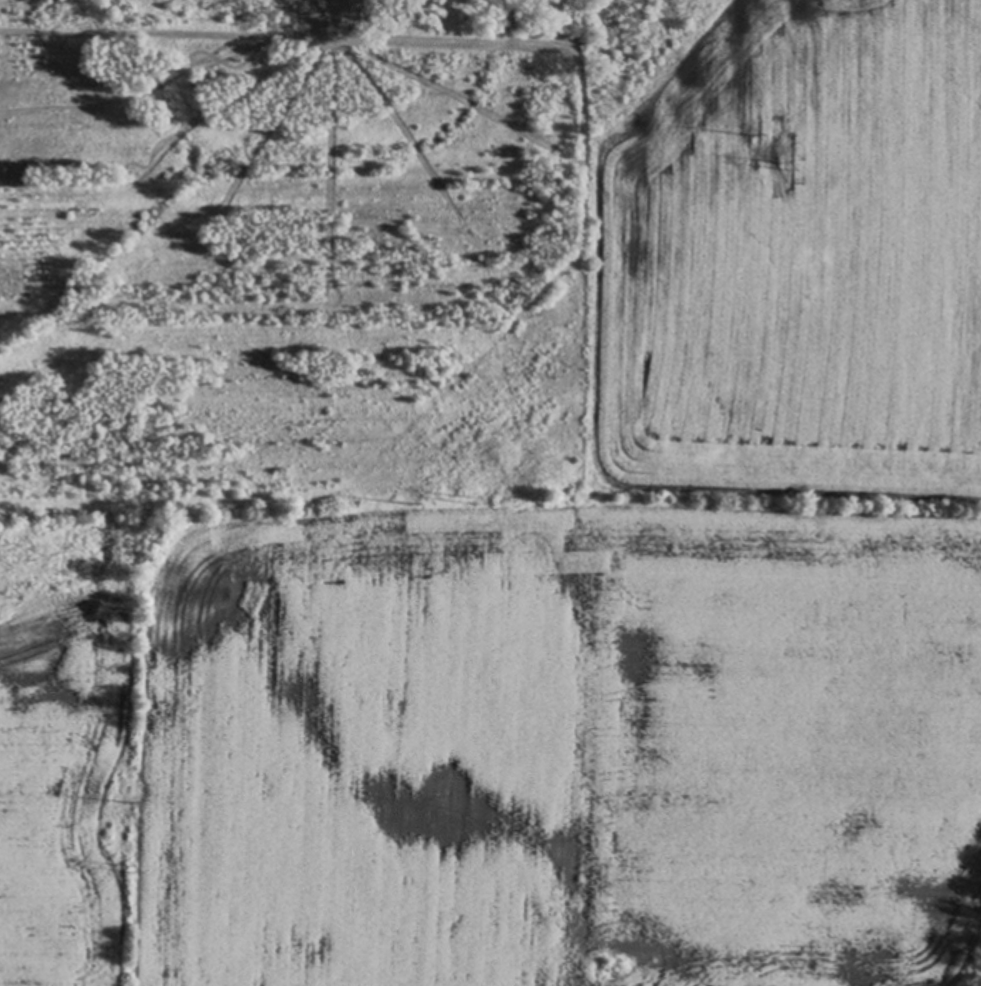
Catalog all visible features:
power tower: (753, 137)
power tower: (781, 169)
power tower: (477, 499)
power tower: (412, 502)
power tower: (139, 797)
power tower: (129, 866)

